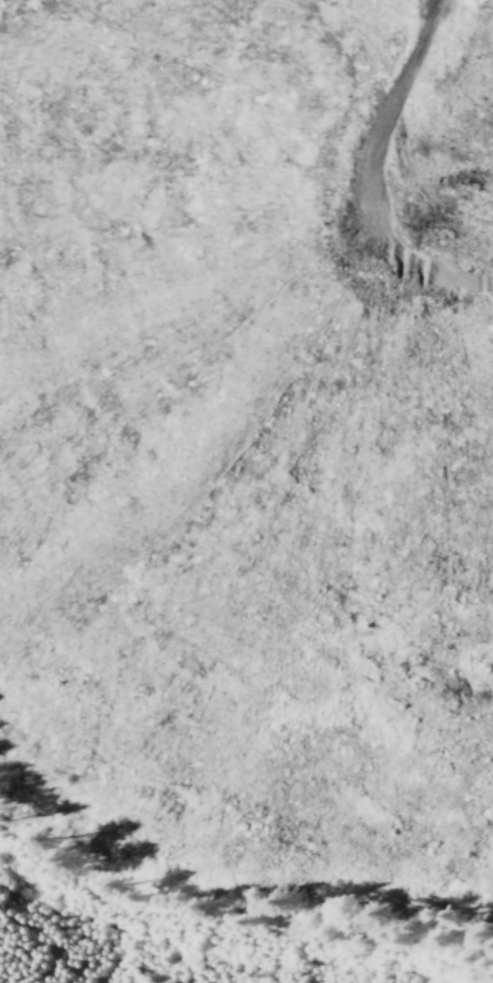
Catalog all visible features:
road: (293, 213)

